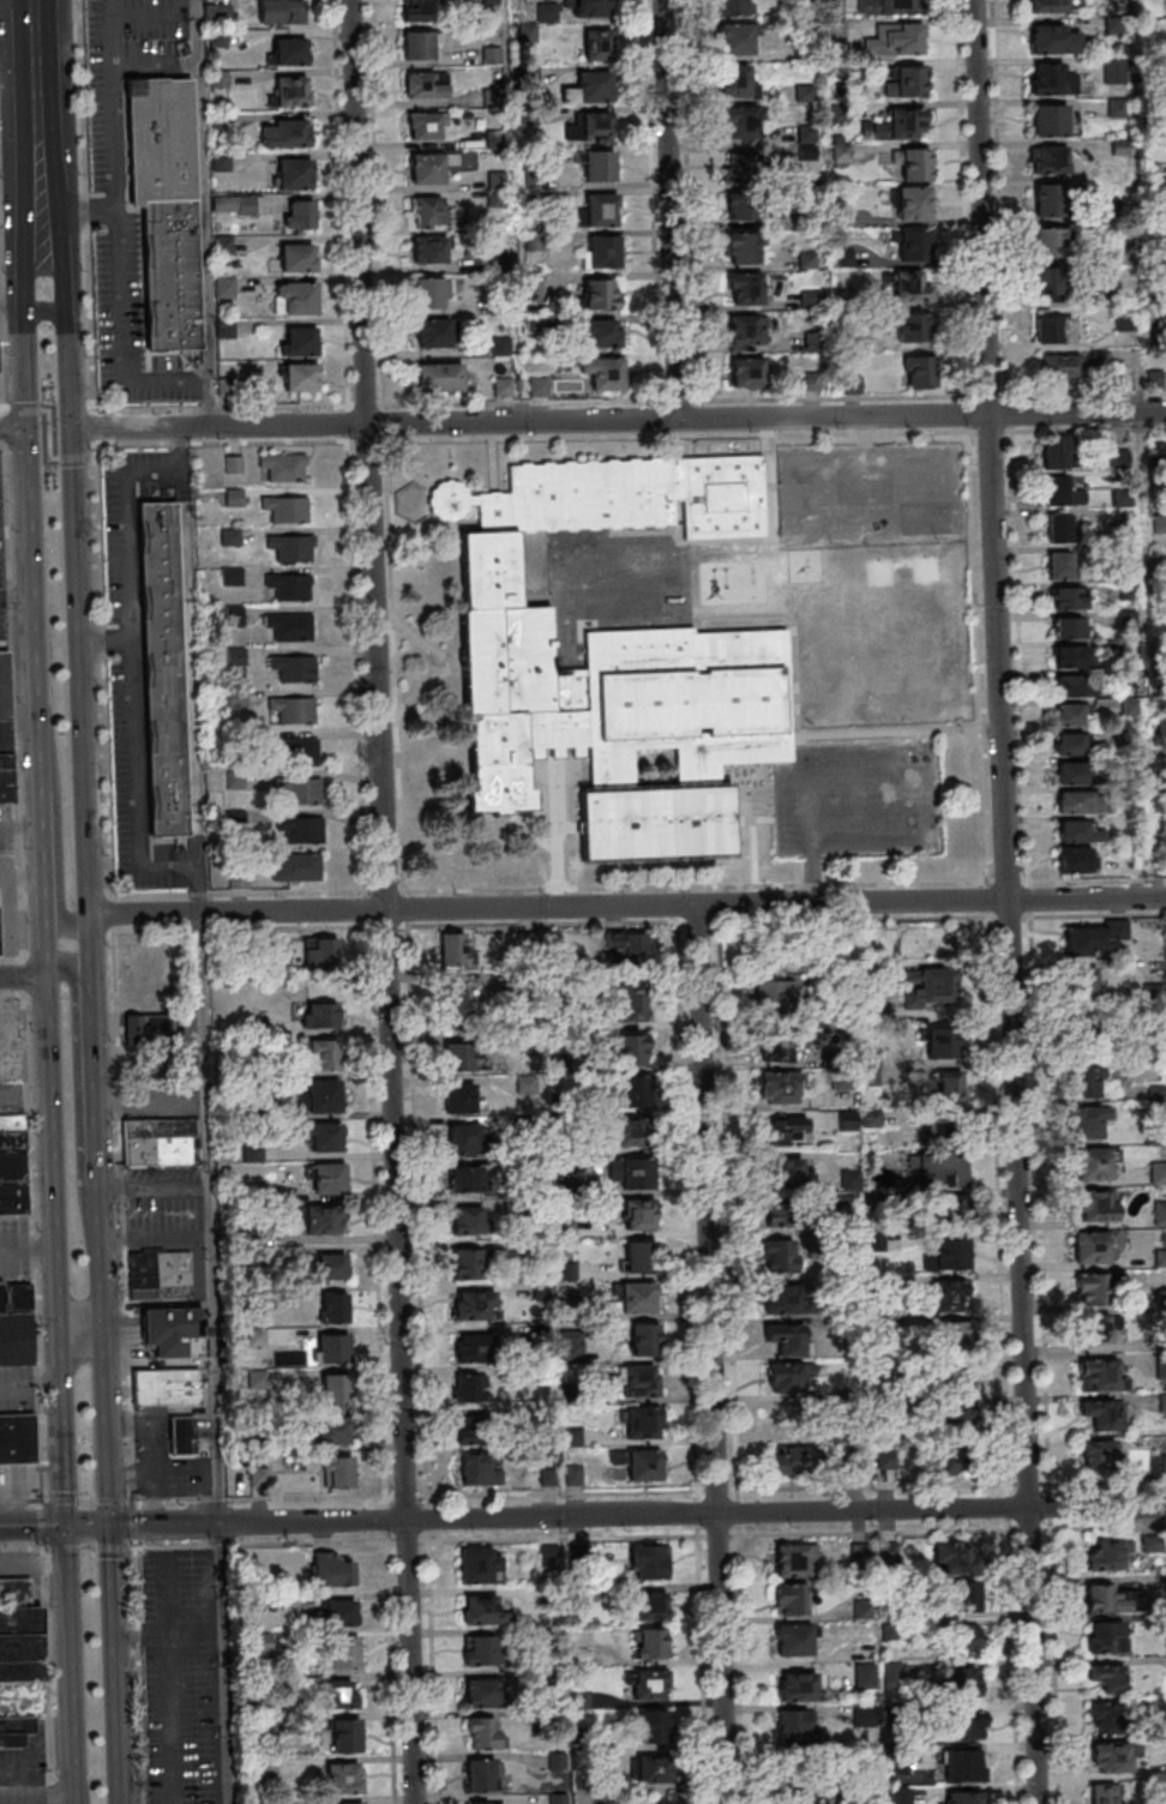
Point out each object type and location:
building: (1050, 6)
building: (733, 7)
building: (888, 7)
building: (588, 8)
building: (281, 11)
building: (420, 11)
building: (547, 12)
building: (738, 38)
building: (896, 41)
building: (1052, 41)
building: (597, 44)
building: (421, 46)
building: (288, 50)
road: (35, 67)
road: (18, 70)
building: (1114, 71)
building: (737, 82)
building: (906, 82)
building: (1053, 83)
building: (425, 86)
building: (595, 86)
building: (289, 91)
road: (113, 104)
building: (1117, 108)
building: (741, 122)
building: (1048, 122)
building: (904, 125)
building: (590, 127)
building: (284, 133)
building: (806, 134)
parking lot: (108, 145)
building: (841, 154)
building: (1052, 161)
building: (916, 164)
building: (437, 166)
building: (599, 166)
building: (743, 166)
road: (40, 173)
building: (294, 174)
building: (1046, 200)
building: (913, 204)
building: (741, 206)
road: (79, 210)
building: (162, 210)
building: (601, 210)
road: (668, 210)
building: (426, 211)
road: (203, 212)
building: (300, 214)
building: (1048, 242)
building: (915, 245)
building: (744, 248)
building: (429, 249)
building: (601, 251)
building: (296, 258)
building: (1050, 284)
building: (910, 287)
building: (745, 289)
building: (429, 293)
building: (601, 294)
building: (295, 297)
road: (44, 309)
road: (64, 318)
building: (914, 327)
building: (746, 330)
building: (1053, 331)
building: (433, 333)
building: (601, 333)
road: (122, 338)
building: (299, 341)
road: (1, 368)
building: (1058, 368)
building: (918, 372)
building: (603, 373)
building: (747, 373)
building: (301, 378)
building: (439, 378)
building: (501, 387)
building: (540, 387)
road: (13, 410)
road: (1076, 414)
road: (675, 420)
road: (216, 426)
road: (13, 428)
traffic signals: (28, 428)
traffic signals: (68, 428)
road: (991, 429)
road: (1088, 429)
road: (47, 434)
road: (678, 435)
road: (365, 439)
road: (220, 441)
building: (1057, 452)
road: (366, 455)
road: (80, 458)
building: (234, 464)
building: (283, 467)
parking lot: (866, 491)
building: (1062, 493)
building: (287, 509)
building: (1159, 523)
building: (1059, 528)
building: (291, 547)
road: (72, 566)
building: (1059, 566)
parking lot: (1, 585)
building: (290, 585)
road: (32, 594)
building: (1069, 599)
building: (289, 626)
building: (1071, 627)
building: (1071, 656)
building: (614, 660)
building: (294, 668)
building: (164, 669)
parking lot: (137, 672)
building: (1069, 687)
road: (11, 700)
building: (294, 709)
building: (1072, 716)
building: (5, 730)
building: (1072, 744)
road: (102, 751)
building: (300, 751)
building: (1074, 772)
building: (301, 792)
parking lot: (854, 800)
building: (1081, 802)
road: (752, 820)
road: (55, 823)
parking lot: (5, 829)
building: (300, 830)
building: (1078, 832)
road: (80, 849)
road: (753, 853)
building: (1076, 860)
building: (296, 867)
parking lot: (6, 871)
road: (696, 885)
road: (384, 889)
road: (64, 895)
road: (1086, 900)
road: (1006, 901)
road: (851, 903)
road: (404, 906)
road: (367, 908)
road: (551, 908)
road: (395, 909)
road: (234, 912)
road: (1094, 913)
road: (1008, 914)
road: (854, 919)
road: (696, 921)
road: (387, 924)
road: (239, 926)
building: (1095, 938)
building: (626, 946)
building: (453, 949)
building: (320, 952)
road: (11, 958)
road: (22, 976)
road: (23, 979)
building: (1084, 984)
building: (937, 985)
road: (67, 994)
road: (12, 996)
building: (1153, 996)
building: (774, 997)
building: (455, 1002)
building: (635, 1004)
building: (318, 1015)
building: (149, 1029)
building: (1088, 1039)
building: (942, 1042)
building: (776, 1048)
building: (632, 1052)
building: (321, 1054)
building: (459, 1056)
building: (1084, 1082)
building: (781, 1088)
building: (948, 1088)
parking lot: (11, 1096)
building: (323, 1096)
parking lot: (158, 1099)
building: (461, 1099)
road: (76, 1106)
building: (635, 1116)
building: (848, 1120)
building: (11, 1122)
building: (1088, 1122)
building: (157, 1127)
building: (945, 1127)
building: (791, 1129)
road: (91, 1130)
building: (325, 1137)
building: (467, 1139)
building: (156, 1151)
road: (52, 1154)
building: (1090, 1163)
building: (787, 1171)
building: (940, 1171)
building: (12, 1172)
building: (1158, 1173)
building: (632, 1174)
building: (327, 1178)
building: (465, 1179)
parking lot: (163, 1207)
road: (705, 1209)
road: (377, 1210)
building: (1096, 1210)
building: (1159, 1213)
road: (393, 1214)
road: (209, 1217)
building: (639, 1217)
building: (783, 1219)
building: (324, 1220)
building: (467, 1220)
parking lot: (14, 1247)
building: (1092, 1247)
road: (30, 1249)
building: (785, 1255)
building: (951, 1256)
building: (641, 1258)
building: (1161, 1258)
building: (464, 1263)
building: (330, 1265)
building: (161, 1273)
parking lot: (197, 1274)
building: (1090, 1288)
building: (14, 1295)
road: (97, 1297)
building: (637, 1297)
building: (787, 1299)
building: (948, 1299)
building: (474, 1305)
building: (335, 1307)
road: (120, 1328)
building: (169, 1328)
building: (1095, 1328)
road: (79, 1329)
building: (16, 1339)
building: (644, 1339)
building: (786, 1339)
building: (473, 1347)
building: (329, 1348)
road: (61, 1371)
building: (786, 1377)
building: (1101, 1377)
building: (258, 1379)
building: (880, 1379)
building: (957, 1379)
building: (639, 1381)
building: (164, 1387)
building: (469, 1388)
parking lot: (16, 1389)
building: (335, 1389)
building: (958, 1411)
building: (1102, 1415)
building: (642, 1424)
road: (102, 1426)
building: (471, 1430)
building: (335, 1431)
building: (180, 1436)
building: (14, 1439)
parking lot: (150, 1449)
building: (1099, 1456)
building: (891, 1457)
building: (960, 1457)
building: (789, 1461)
building: (852, 1461)
building: (644, 1466)
road: (64, 1468)
building: (476, 1469)
building: (337, 1472)
parking lot: (14, 1481)
road: (693, 1490)
road: (257, 1499)
road: (18, 1501)
road: (84, 1502)
road: (636, 1515)
road: (32, 1525)
road: (38, 1525)
traffic signals: (67, 1525)
road: (86, 1525)
traffic signals: (106, 1525)
road: (132, 1525)
road: (85, 1547)
building: (549, 1556)
building: (1105, 1556)
building: (955, 1558)
building: (792, 1559)
building: (649, 1562)
building: (481, 1565)
building: (332, 1570)
road: (107, 1574)
building: (962, 1596)
building: (1106, 1598)
building: (789, 1599)
building: (653, 1606)
building: (483, 1611)
building: (333, 1612)
building: (19, 1634)
building: (1107, 1637)
building: (966, 1640)
building: (793, 1641)
building: (650, 1643)
building: (480, 1649)
building: (347, 1653)
road: (720, 1659)
road: (44, 1660)
road: (409, 1661)
road: (71, 1664)
road: (221, 1664)
road: (137, 1674)
parking lot: (179, 1677)
building: (1107, 1677)
building: (964, 1680)
building: (651, 1684)
road: (170, 1688)
building: (797, 1688)
building: (480, 1692)
building: (342, 1697)
road: (110, 1701)
building: (1108, 1716)
building: (967, 1725)
building: (653, 1726)
building: (793, 1727)
building: (16, 1730)
building: (482, 1733)
building: (345, 1738)
building: (1112, 1758)
parking lot: (23, 1764)
building: (962, 1767)
building: (653, 1768)
road: (24, 1773)
building: (482, 1774)
road: (94, 1778)
building: (344, 1779)
road: (50, 1787)
road: (78, 1791)
road: (114, 1791)
building: (1104, 1794)
building: (799, 1798)
building: (964, 1798)
road: (38, 1803)
building: (348, 1803)
building: (488, 1803)

